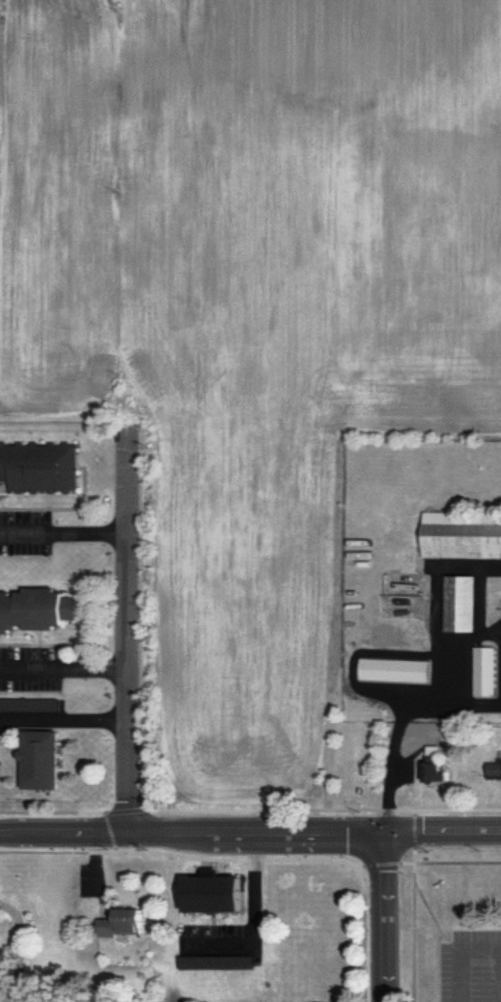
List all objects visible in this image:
building: (40, 467)
road: (63, 533)
building: (462, 535)
building: (462, 603)
building: (36, 609)
road: (127, 636)
road: (449, 643)
road: (64, 667)
building: (396, 669)
building: (486, 670)
building: (29, 704)
road: (475, 704)
road: (64, 722)
road: (394, 748)
building: (42, 759)
building: (434, 764)
building: (494, 769)
road: (330, 833)
road: (80, 835)
road: (444, 844)
building: (212, 893)
road: (255, 914)
road: (388, 917)
building: (122, 922)
road: (462, 958)
building: (215, 961)

